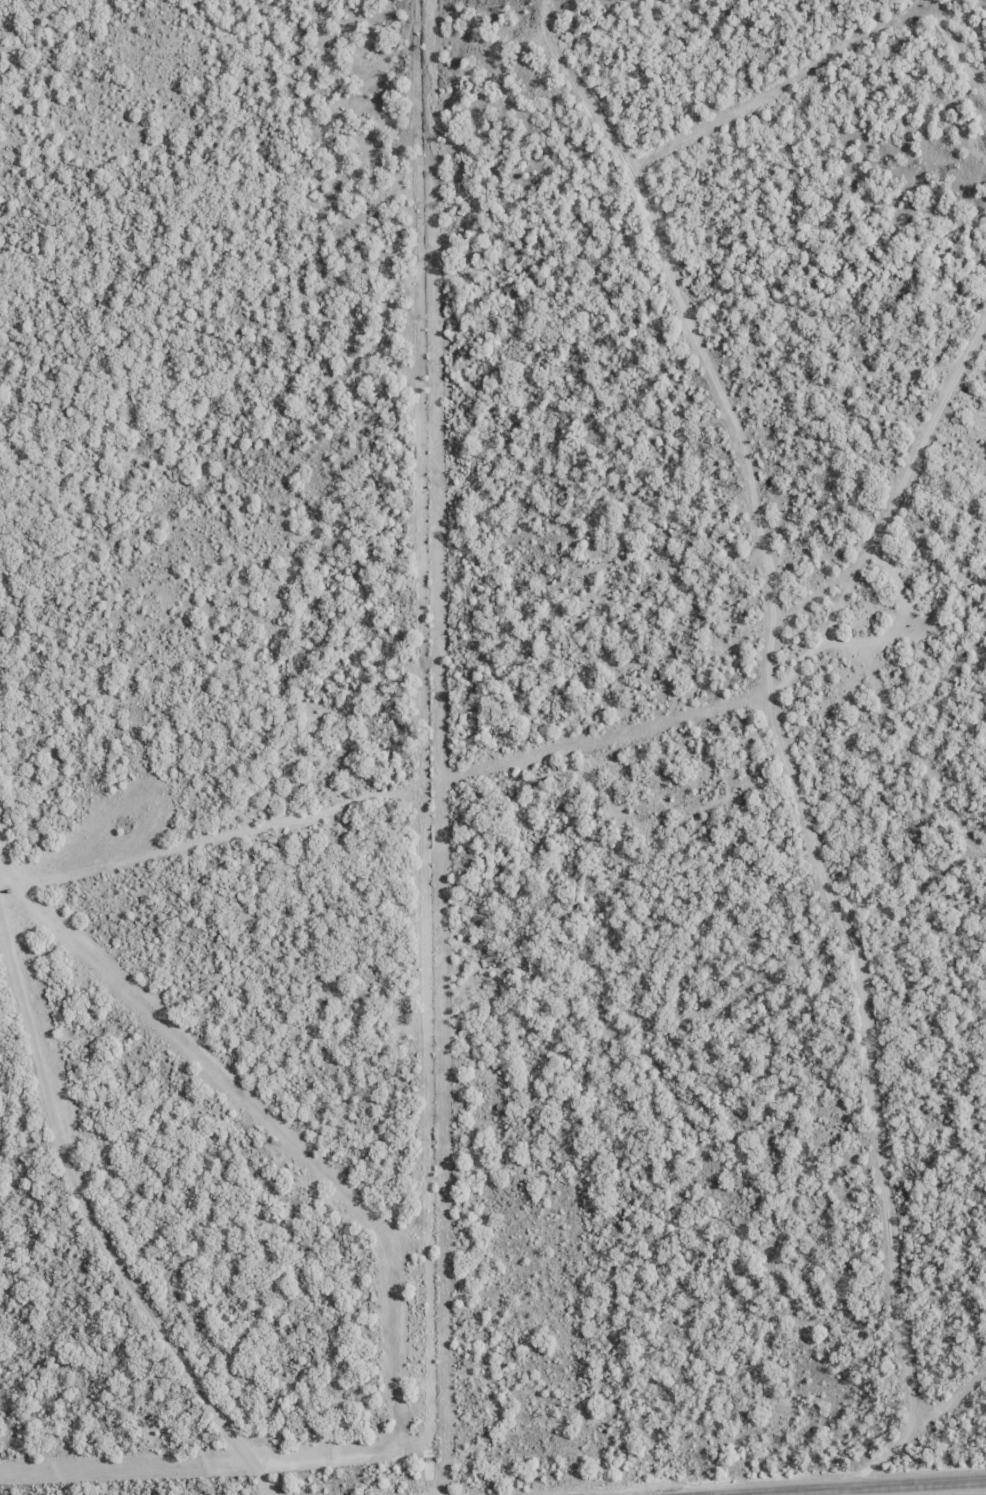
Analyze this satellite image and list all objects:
road: (866, 1489)

